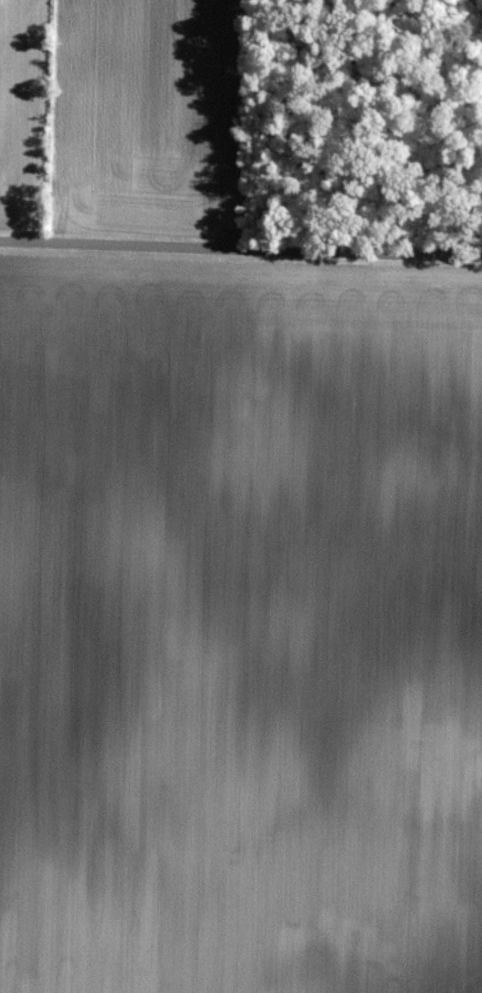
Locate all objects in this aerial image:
road: (241, 248)

